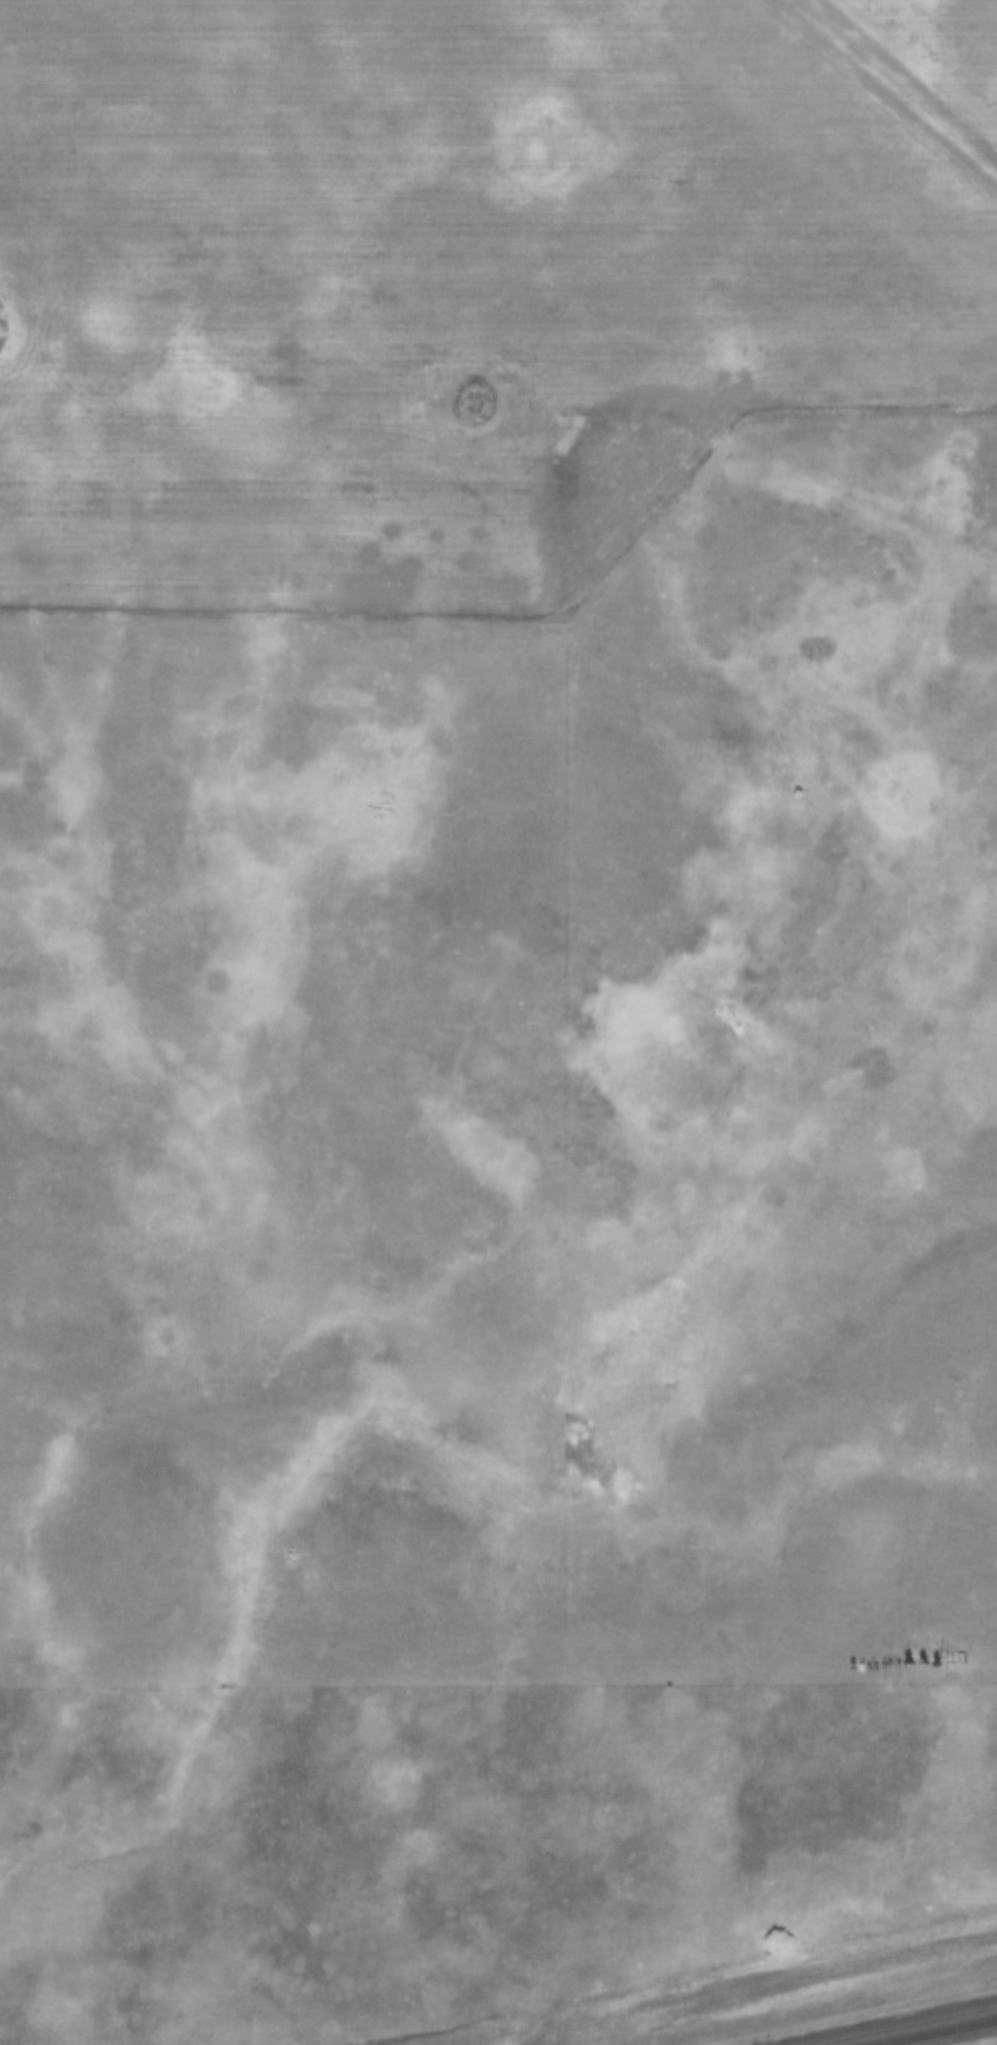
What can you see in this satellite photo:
road: (498, 1681)
railway: (894, 2023)
railway: (935, 2032)

